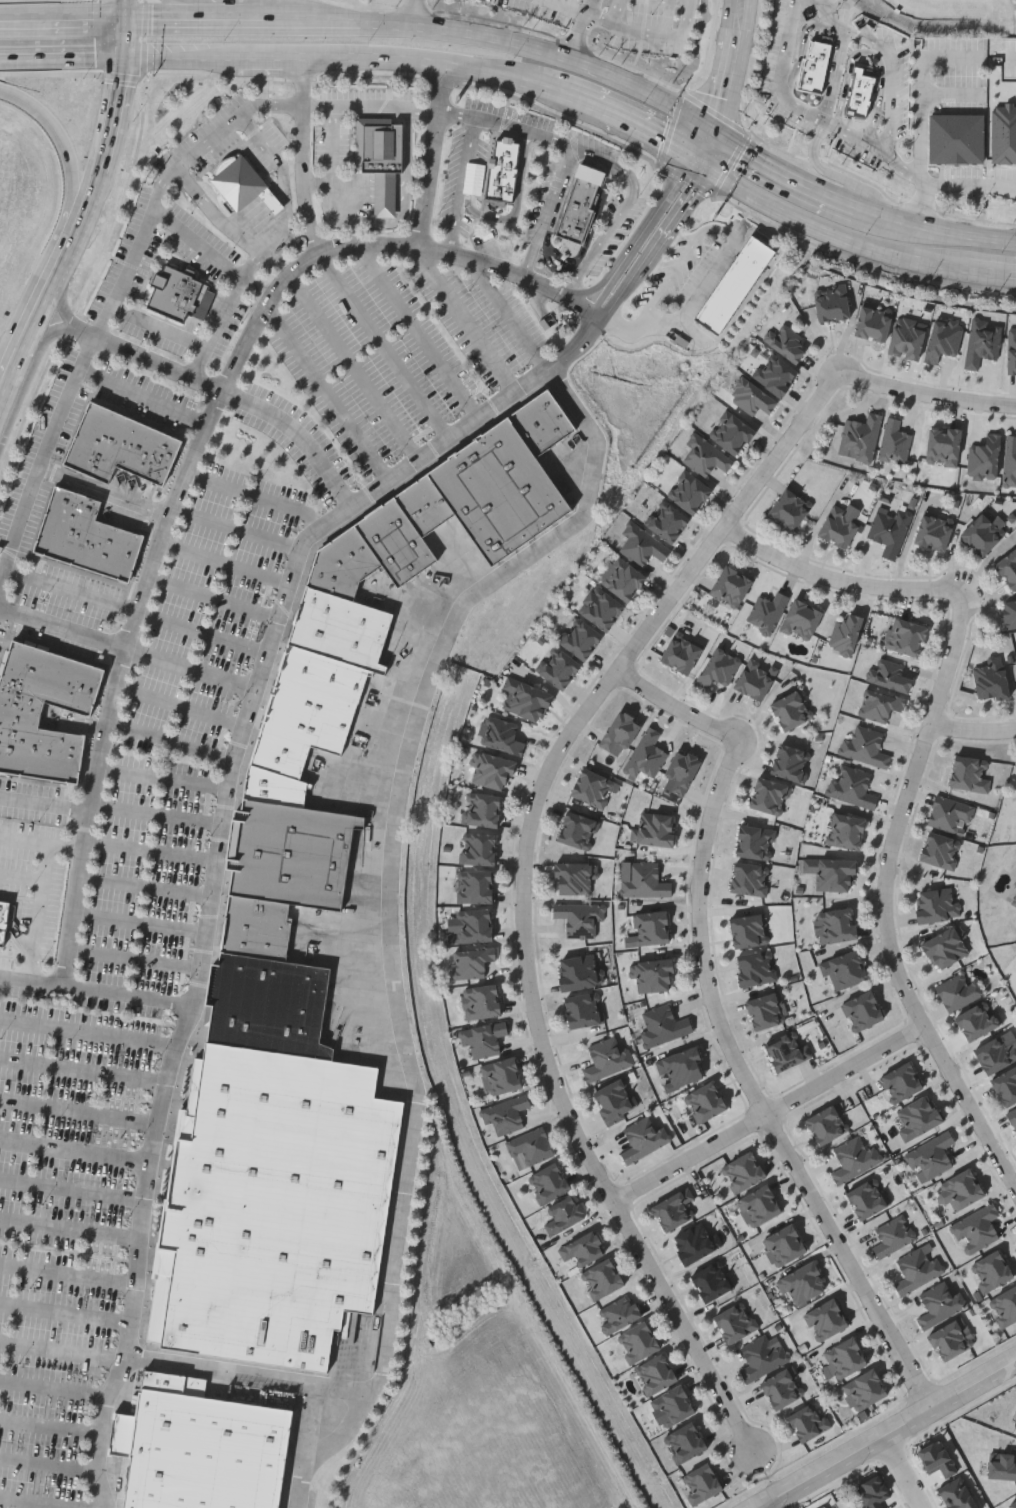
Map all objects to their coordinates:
road: (276, 4)
road: (575, 4)
road: (268, 7)
road: (592, 9)
road: (124, 10)
road: (418, 13)
road: (583, 17)
road: (62, 18)
traffic signals: (125, 20)
road: (254, 22)
road: (650, 32)
road: (124, 38)
road: (555, 53)
road: (62, 55)
road: (180, 56)
traffic signals: (124, 57)
road: (267, 57)
road: (887, 57)
road: (433, 63)
road: (731, 63)
road: (836, 75)
building: (860, 93)
road: (953, 97)
road: (584, 107)
road: (244, 111)
road: (921, 117)
building: (1011, 124)
traffic signals: (713, 125)
road: (853, 136)
building: (956, 137)
road: (649, 139)
road: (333, 143)
road: (704, 145)
road: (305, 156)
road: (431, 156)
building: (380, 157)
road: (278, 164)
traffic signals: (695, 165)
road: (102, 166)
building: (502, 170)
road: (830, 172)
road: (786, 173)
building: (1006, 173)
road: (384, 176)
road: (401, 176)
road: (359, 179)
road: (320, 182)
road: (338, 182)
building: (242, 183)
road: (359, 183)
road: (384, 184)
road: (401, 184)
road: (464, 186)
road: (359, 187)
road: (359, 190)
road: (384, 192)
road: (401, 192)
road: (357, 197)
road: (384, 199)
road: (400, 199)
building: (580, 203)
road: (921, 205)
road: (384, 207)
road: (400, 207)
road: (548, 212)
road: (63, 214)
road: (215, 214)
road: (404, 216)
road: (940, 231)
road: (825, 234)
road: (638, 236)
road: (653, 245)
road: (265, 253)
road: (212, 254)
road: (284, 254)
road: (679, 263)
road: (992, 273)
building: (734, 283)
building: (179, 293)
road: (62, 298)
building: (832, 303)
road: (43, 308)
road: (683, 313)
road: (509, 316)
road: (467, 319)
building: (873, 323)
road: (157, 325)
road: (216, 328)
road: (420, 330)
road: (46, 334)
building: (788, 343)
road: (381, 345)
road: (146, 356)
road: (354, 366)
road: (13, 374)
building: (775, 374)
road: (327, 391)
road: (141, 396)
road: (928, 396)
building: (753, 398)
road: (1, 402)
building: (541, 422)
road: (295, 432)
building: (734, 434)
building: (861, 437)
building: (895, 440)
building: (119, 445)
building: (943, 446)
building: (708, 458)
building: (1010, 460)
road: (181, 490)
building: (499, 490)
road: (104, 492)
building: (689, 492)
road: (257, 496)
building: (424, 505)
building: (790, 508)
building: (668, 522)
building: (838, 527)
road: (239, 528)
building: (890, 529)
building: (933, 531)
building: (982, 533)
building: (85, 534)
building: (396, 541)
building: (643, 545)
road: (226, 562)
building: (343, 564)
building: (1008, 567)
building: (621, 577)
road: (841, 580)
building: (730, 586)
road: (71, 589)
road: (214, 596)
building: (601, 609)
building: (768, 612)
building: (1009, 613)
building: (801, 620)
building: (341, 628)
road: (200, 631)
building: (845, 633)
building: (908, 638)
building: (580, 639)
road: (126, 646)
building: (680, 654)
building: (720, 667)
building: (559, 668)
building: (891, 674)
building: (755, 678)
building: (991, 679)
building: (314, 698)
building: (527, 699)
road: (178, 704)
building: (880, 704)
road: (679, 708)
building: (791, 709)
building: (20, 711)
road: (242, 727)
road: (976, 731)
building: (620, 734)
building: (501, 735)
road: (170, 739)
building: (866, 746)
road: (562, 751)
building: (279, 753)
building: (647, 755)
building: (791, 762)
building: (681, 770)
building: (492, 771)
building: (971, 773)
road: (161, 777)
building: (274, 786)
building: (853, 786)
building: (592, 788)
building: (770, 795)
road: (43, 804)
building: (483, 809)
road: (156, 814)
building: (951, 814)
building: (656, 828)
building: (578, 830)
building: (847, 830)
building: (755, 841)
road: (41, 842)
building: (478, 848)
road: (151, 849)
building: (940, 850)
building: (295, 854)
building: (832, 872)
road: (23, 877)
building: (574, 877)
building: (750, 877)
building: (645, 880)
building: (475, 886)
road: (146, 887)
road: (886, 898)
building: (1013, 900)
building: (937, 904)
road: (42, 910)
road: (388, 911)
building: (577, 918)
building: (3, 920)
road: (140, 922)
building: (838, 924)
building: (475, 925)
building: (256, 928)
building: (650, 928)
building: (749, 929)
building: (946, 947)
road: (134, 959)
building: (473, 961)
building: (757, 968)
building: (845, 969)
building: (577, 972)
building: (653, 974)
building: (959, 991)
road: (127, 992)
building: (481, 1001)
building: (267, 1006)
building: (584, 1009)
building: (862, 1009)
building: (766, 1011)
building: (977, 1019)
building: (663, 1025)
road: (89, 1031)
building: (484, 1039)
building: (787, 1050)
building: (996, 1054)
building: (608, 1058)
building: (680, 1069)
road: (83, 1071)
building: (502, 1076)
building: (901, 1082)
building: (1006, 1086)
road: (756, 1090)
building: (616, 1101)
building: (706, 1101)
road: (772, 1113)
building: (507, 1115)
building: (1013, 1116)
building: (918, 1117)
building: (826, 1124)
building: (644, 1139)
building: (532, 1145)
road: (75, 1152)
building: (932, 1157)
building: (855, 1158)
building: (744, 1171)
building: (550, 1183)
building: (963, 1188)
road: (73, 1190)
building: (867, 1198)
building: (760, 1205)
building: (273, 1207)
building: (675, 1209)
building: (564, 1215)
building: (977, 1227)
road: (71, 1229)
building: (894, 1236)
building: (695, 1243)
building: (784, 1244)
building: (583, 1248)
building: (918, 1268)
building: (992, 1271)
road: (68, 1274)
building: (602, 1278)
building: (712, 1281)
building: (803, 1283)
building: (940, 1304)
building: (1005, 1306)
road: (64, 1312)
building: (619, 1313)
road: (129, 1316)
building: (825, 1318)
building: (736, 1322)
road: (687, 1327)
building: (952, 1339)
building: (638, 1341)
road: (60, 1350)
building: (845, 1355)
building: (762, 1357)
road: (246, 1372)
building: (656, 1374)
road: (54, 1388)
building: (782, 1389)
building: (865, 1390)
building: (673, 1406)
building: (809, 1422)
building: (1015, 1423)
road: (50, 1427)
building: (1015, 1427)
road: (887, 1435)
building: (686, 1442)
building: (200, 1447)
building: (1003, 1465)
road: (50, 1466)
road: (910, 1471)
building: (702, 1484)
road: (34, 1502)
building: (1012, 1505)
building: (823, 1506)

